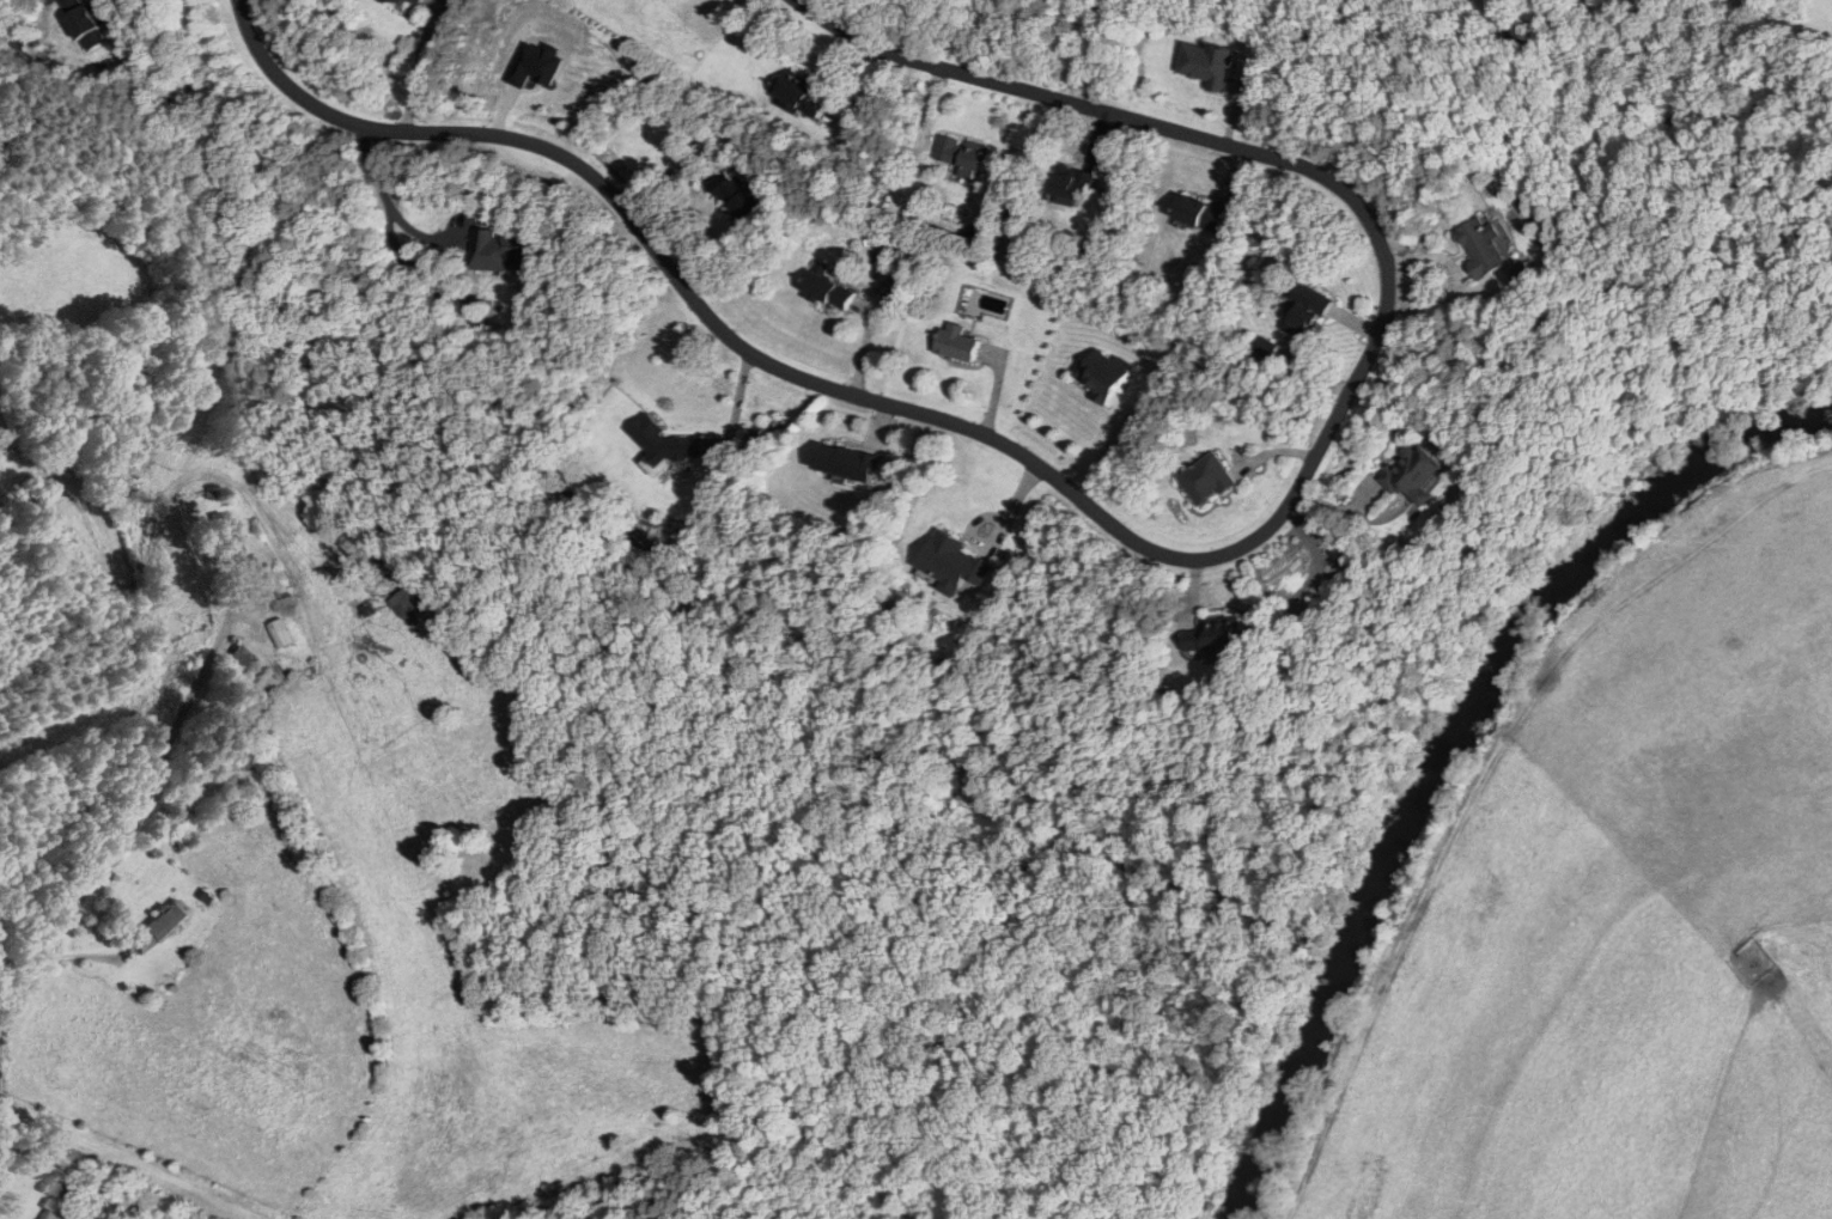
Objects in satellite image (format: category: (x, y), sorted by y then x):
building: (415, 0)
building: (84, 22)
road: (1813, 28)
building: (1210, 61)
building: (802, 95)
building: (962, 154)
building: (1071, 183)
building: (738, 194)
building: (1200, 212)
building: (1484, 245)
building: (501, 246)
building: (1524, 272)
building: (829, 288)
building: (1307, 309)
building: (957, 341)
building: (1102, 373)
building: (662, 444)
building: (848, 461)
building: (1413, 474)
building: (1206, 479)
building: (229, 544)
road: (1146, 547)
building: (951, 563)
building: (406, 603)
building: (280, 632)
building: (1216, 634)
building: (239, 657)
road: (127, 806)
building: (158, 927)

